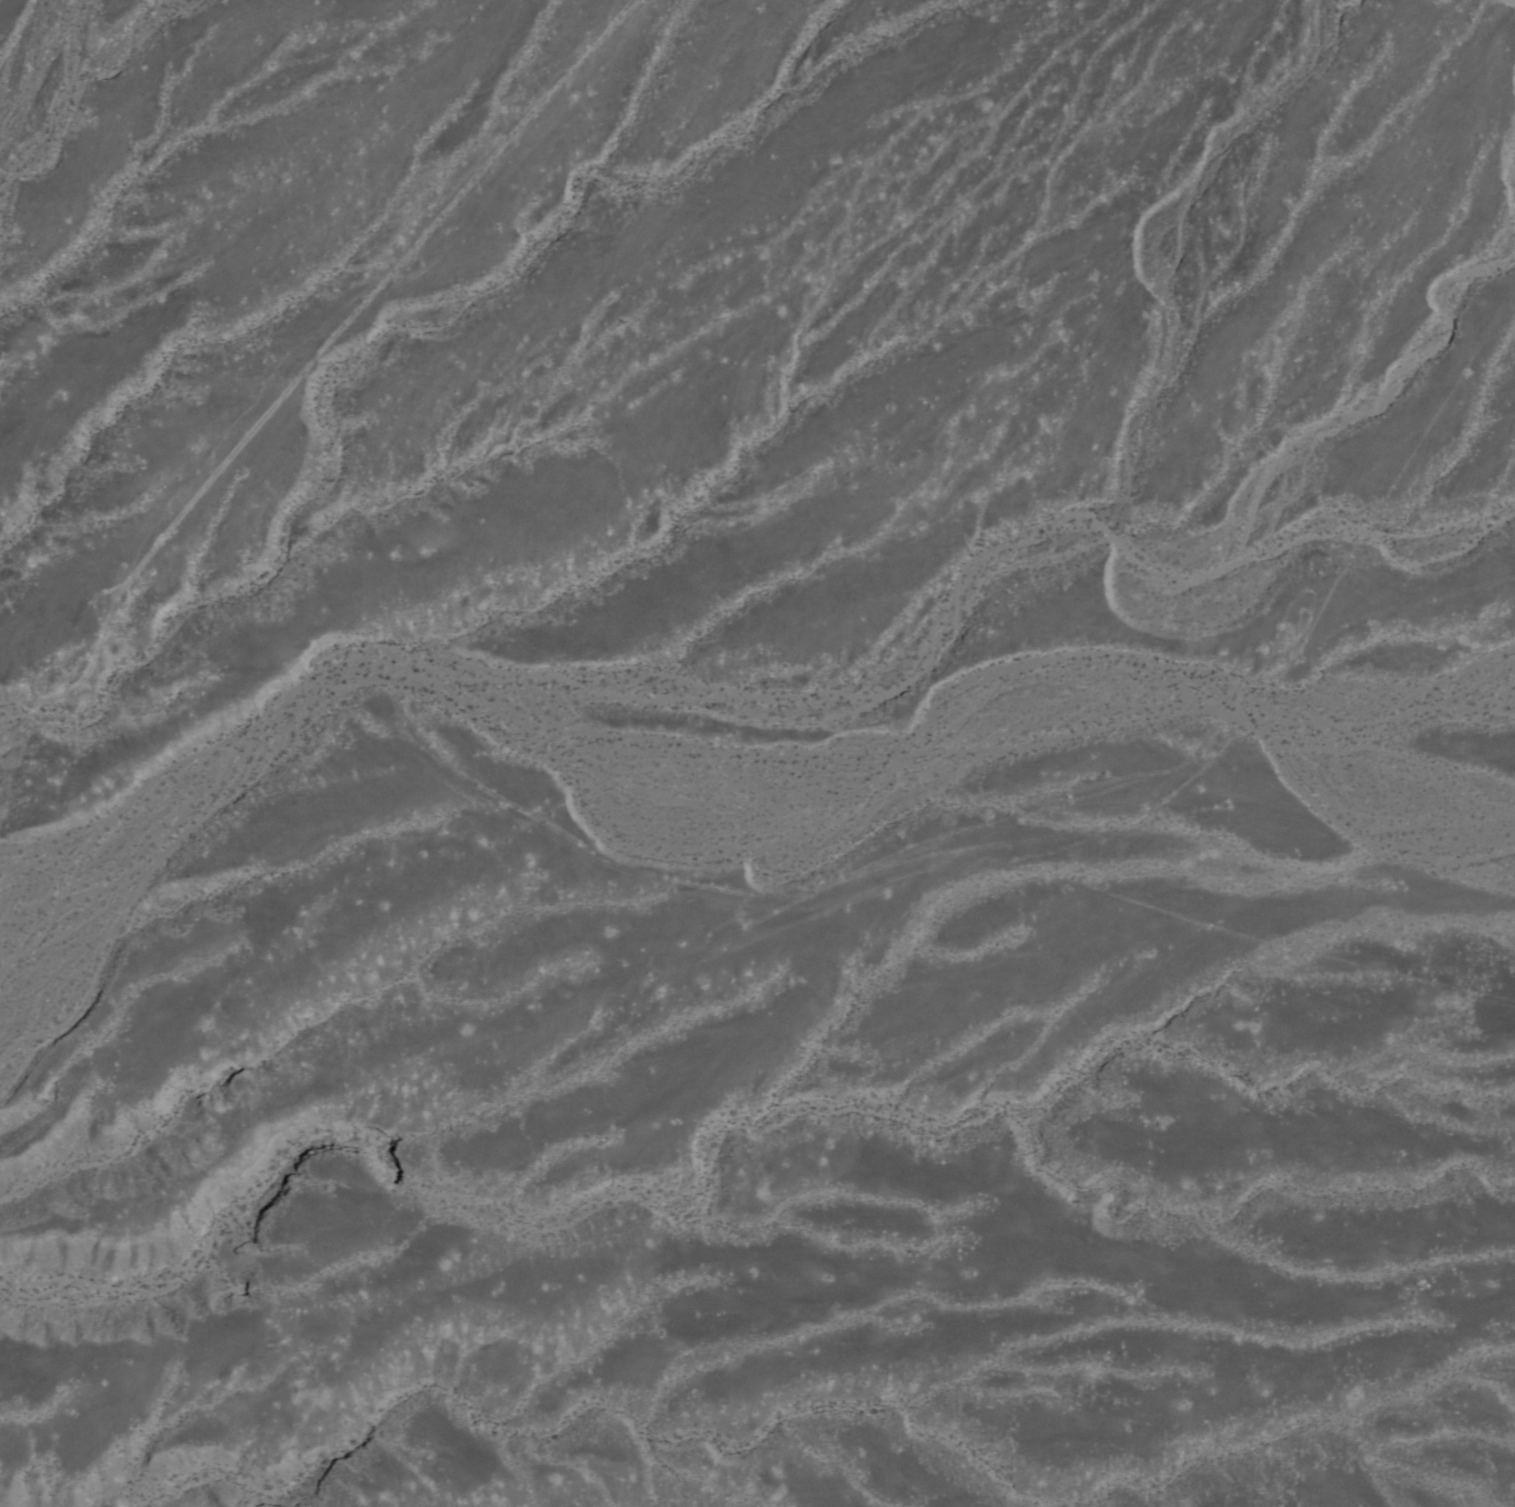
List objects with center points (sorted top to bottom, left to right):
road: (381, 321)

